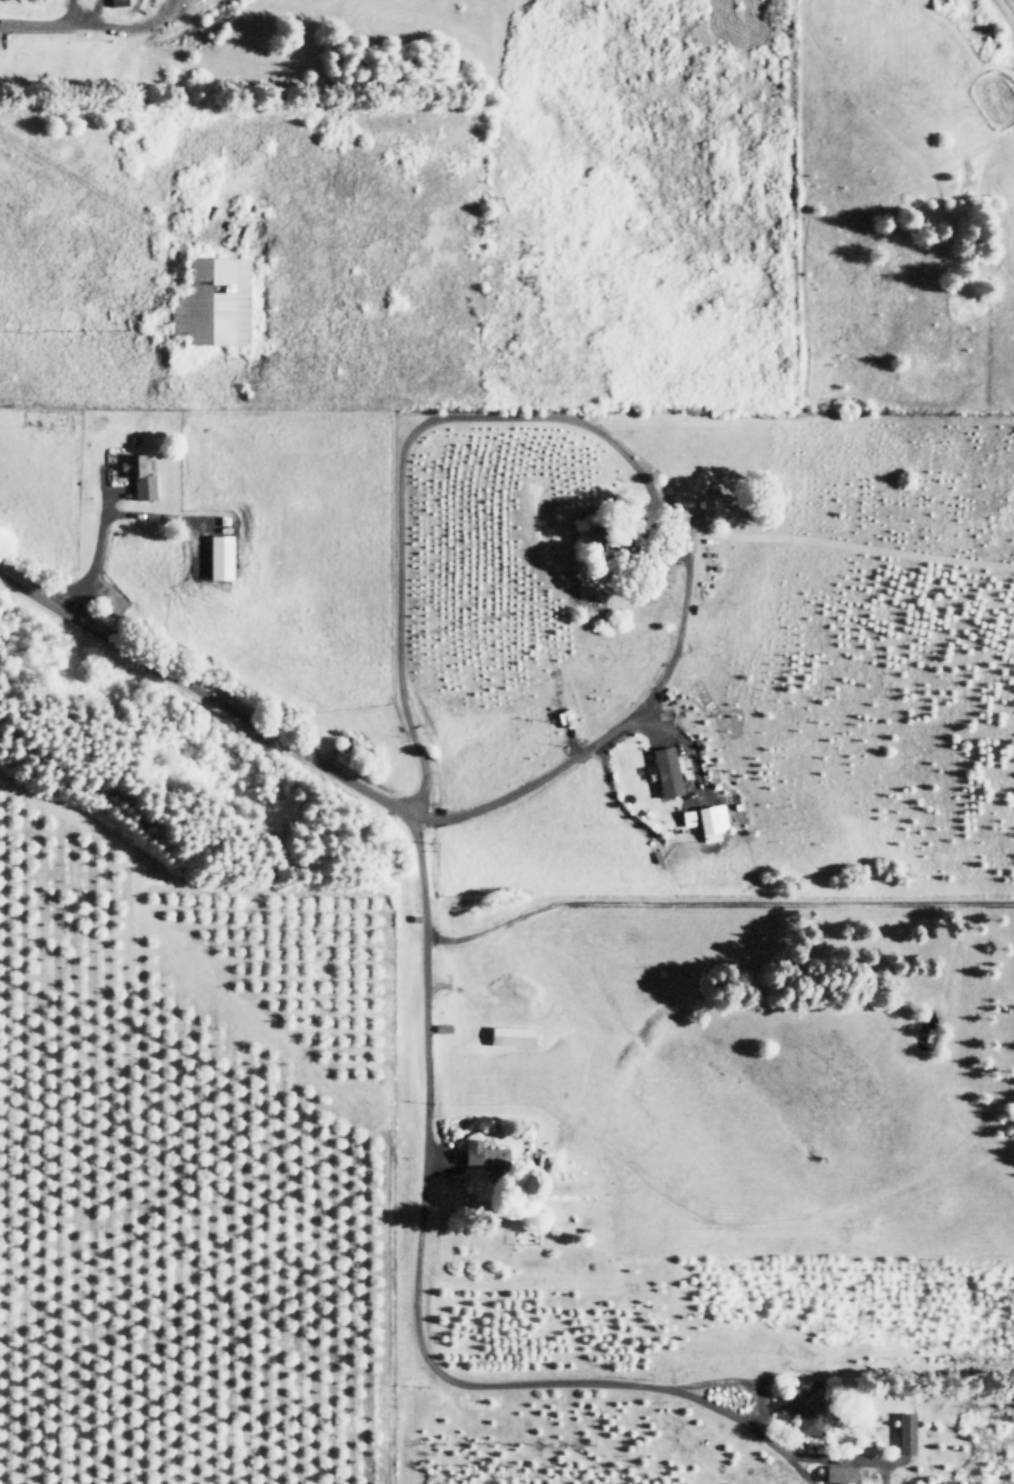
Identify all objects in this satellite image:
road: (67, 11)
road: (124, 25)
building: (214, 301)
crop: (556, 401)
road: (595, 432)
building: (140, 476)
building: (714, 507)
building: (219, 557)
building: (666, 771)
building: (688, 817)
building: (711, 821)
road: (715, 904)
building: (511, 1035)
road: (425, 1043)
building: (484, 1156)
building: (807, 1407)
building: (906, 1432)
building: (839, 1473)

